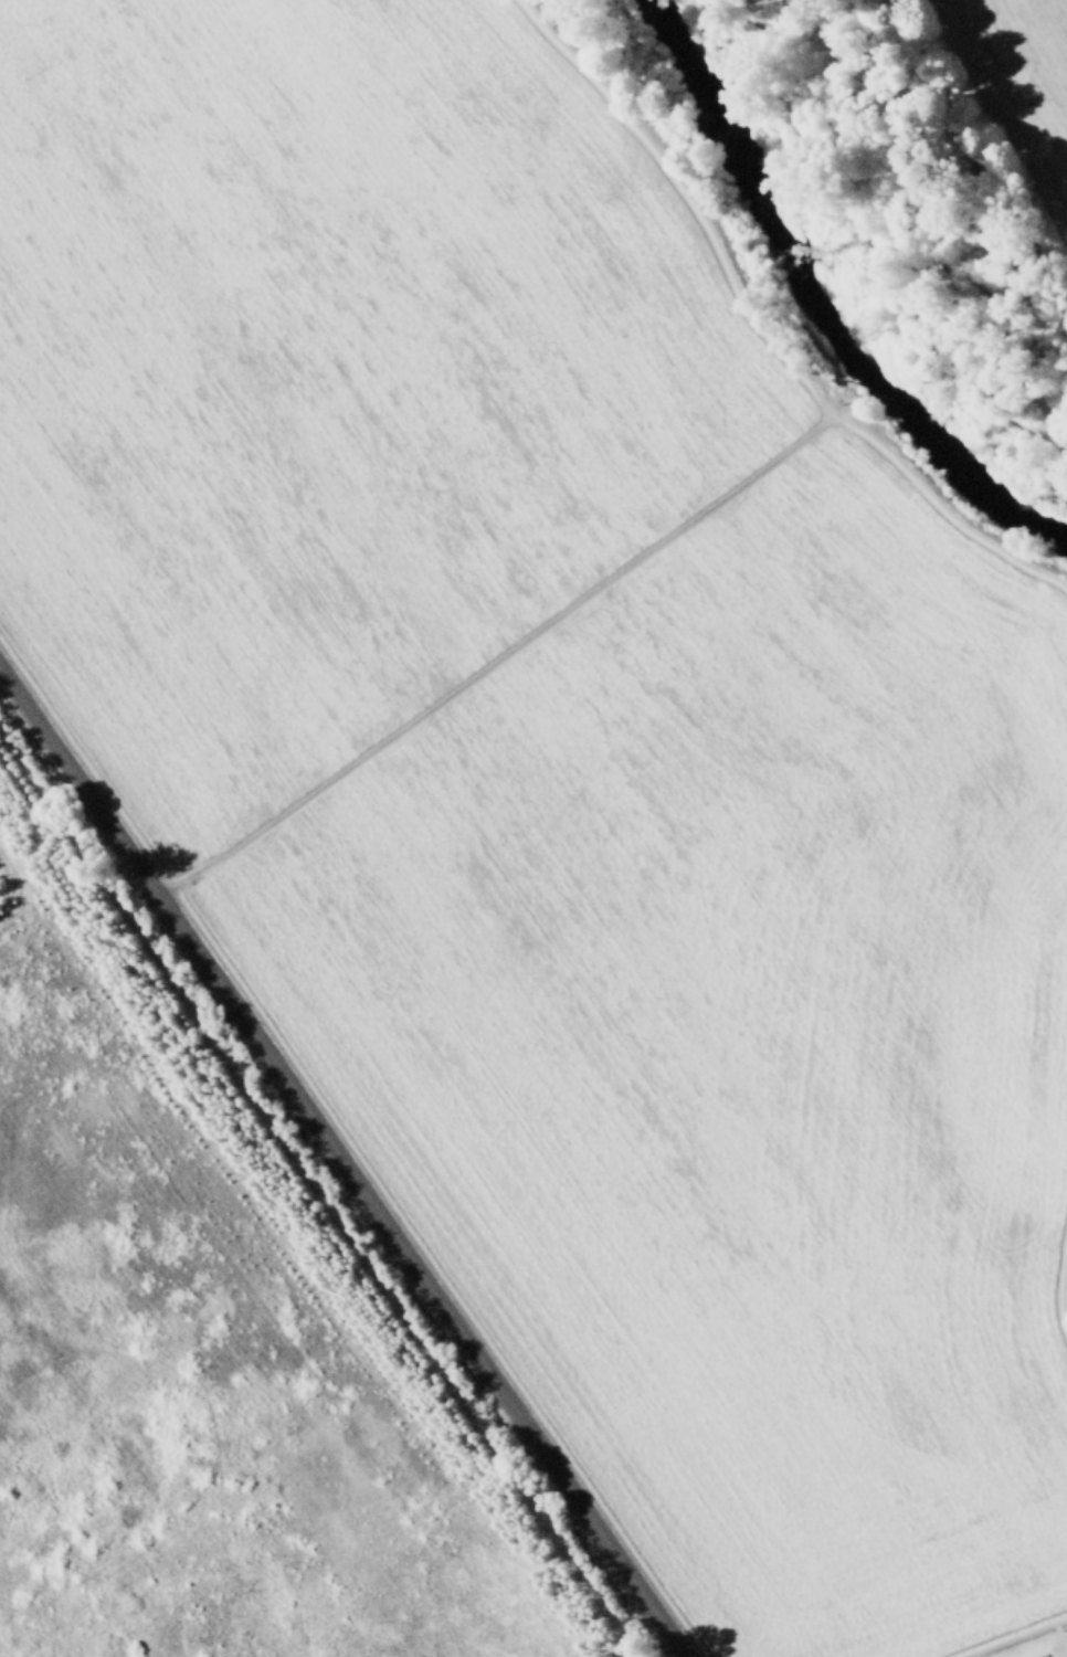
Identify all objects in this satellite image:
crop: (1022, 78)
river: (820, 299)
crop: (494, 897)
road: (342, 1163)

